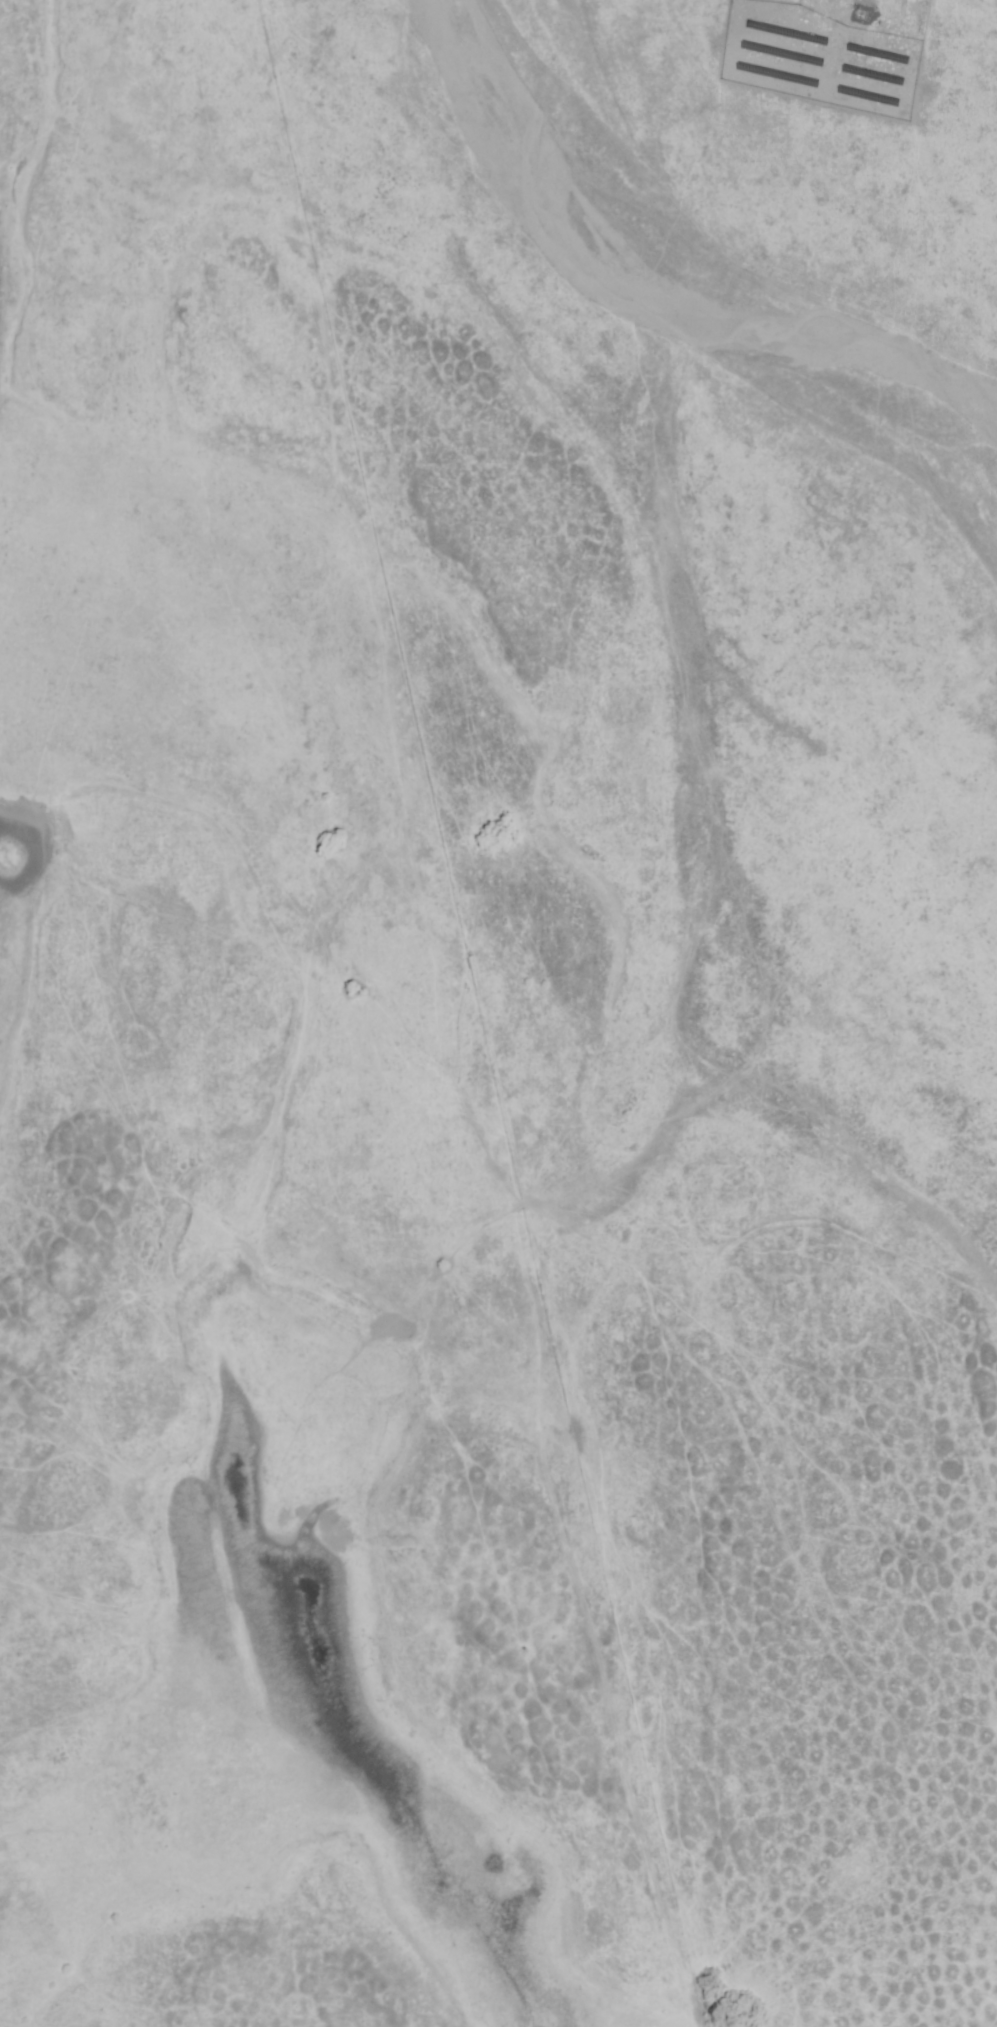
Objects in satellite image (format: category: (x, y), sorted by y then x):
crop: (474, 757)
crop: (164, 1476)
crop: (624, 1666)
crop: (110, 1839)
crop: (420, 1933)

